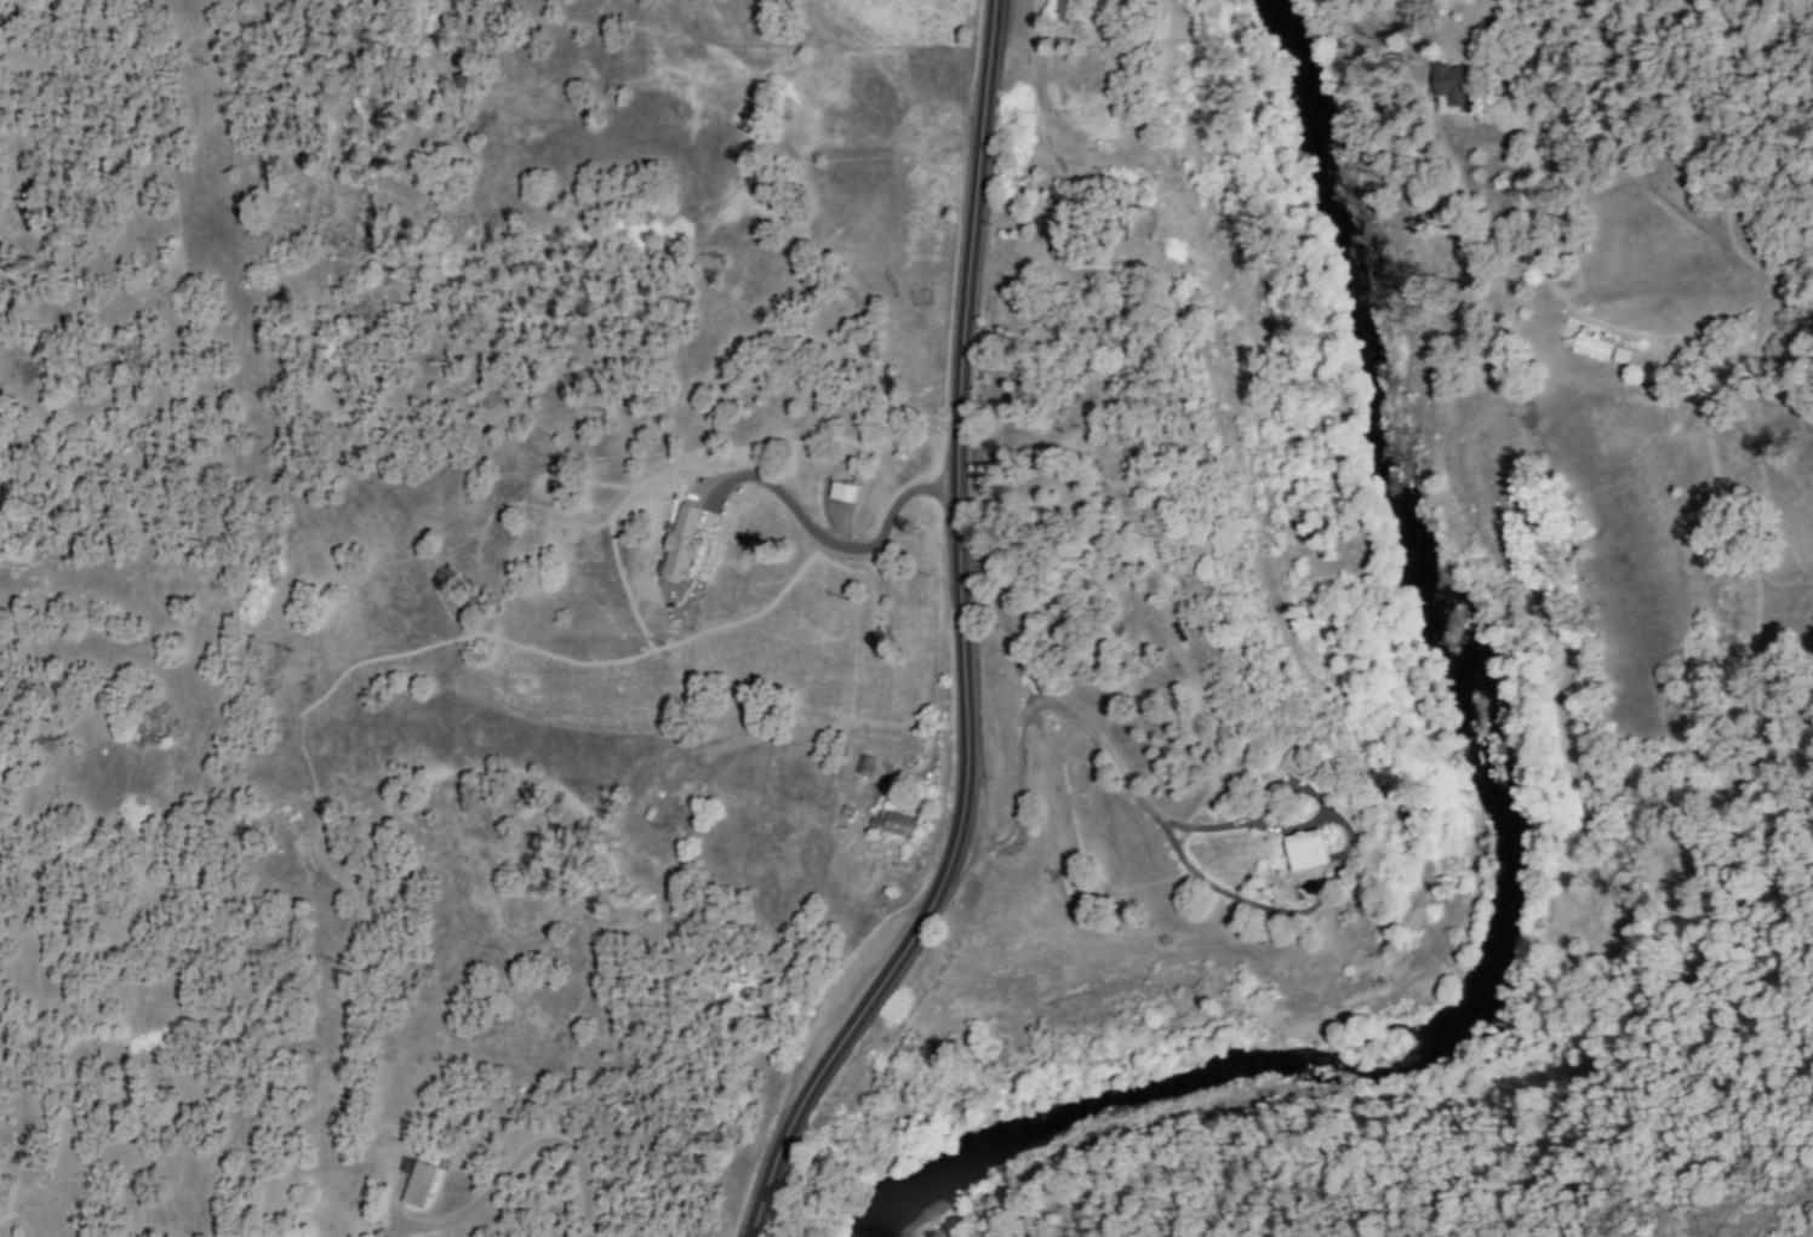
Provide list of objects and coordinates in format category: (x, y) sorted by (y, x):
building: (1062, 6)
building: (1449, 88)
road: (1628, 142)
road: (1134, 181)
building: (1592, 347)
building: (1620, 356)
building: (842, 492)
road: (819, 534)
building: (681, 544)
river: (1465, 637)
road: (961, 645)
building: (1293, 763)
building: (864, 764)
building: (900, 826)
building: (1308, 851)
river: (1196, 1087)
river: (1011, 1140)
road: (519, 1150)
building: (419, 1184)

